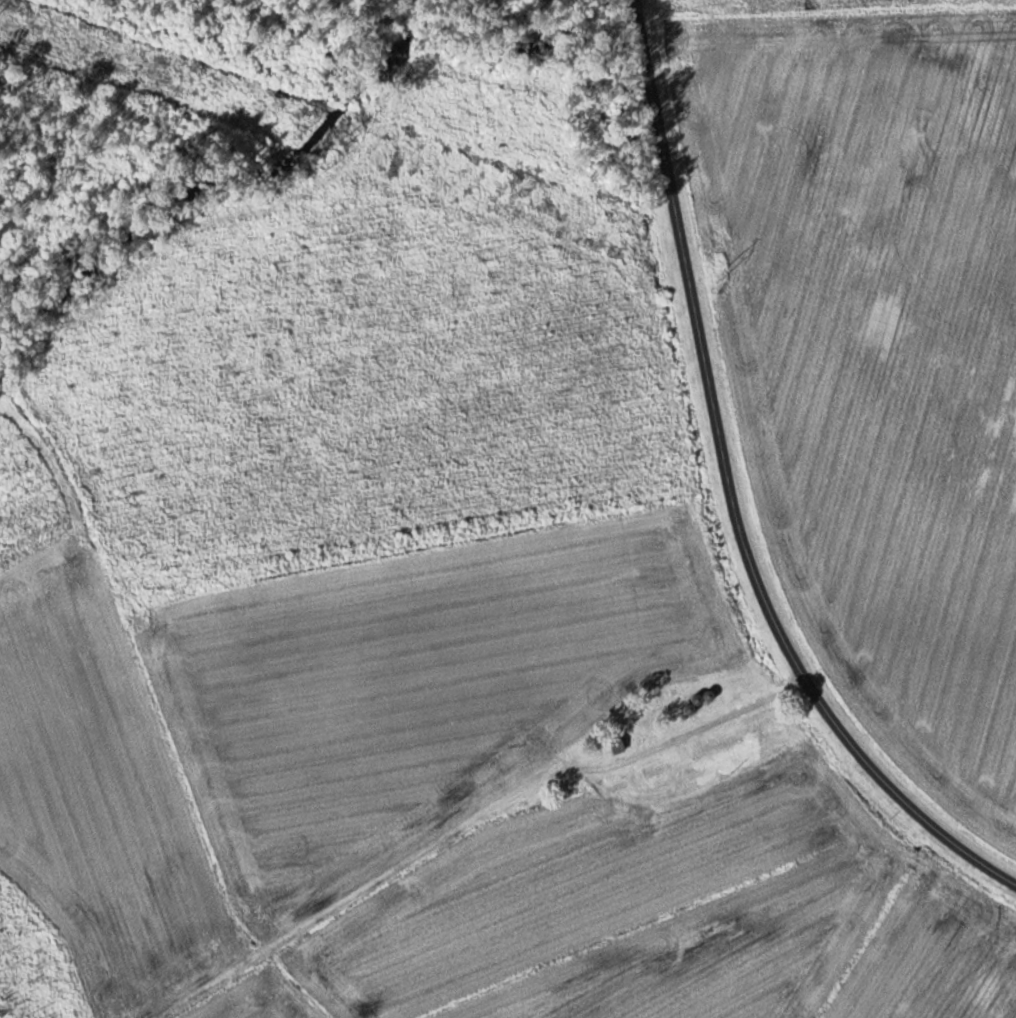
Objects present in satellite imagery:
power tower: (349, 139)
power tower: (724, 274)
road: (734, 486)
building: (662, 695)
building: (710, 749)
building: (637, 779)

